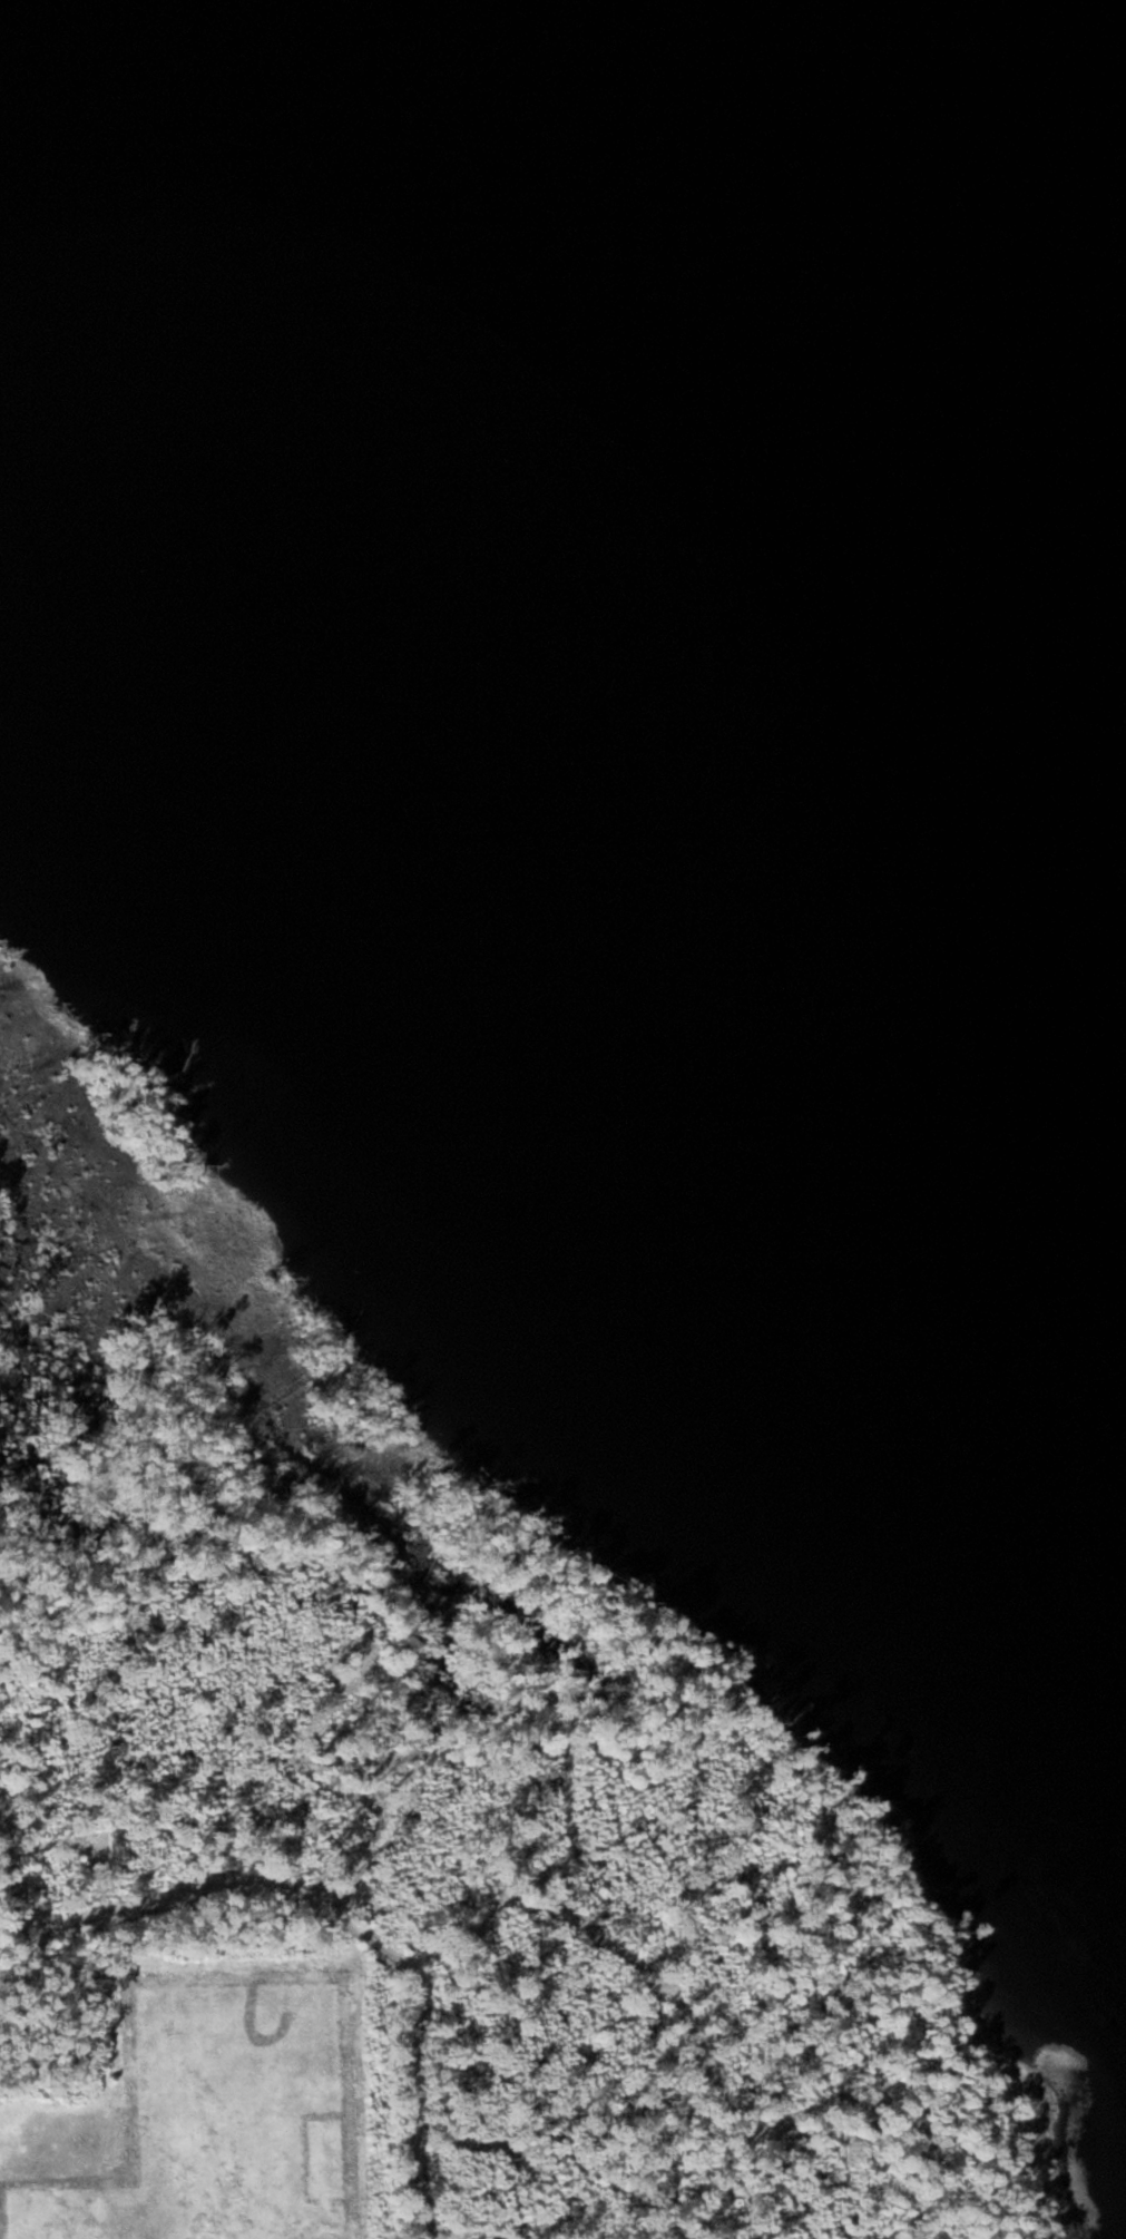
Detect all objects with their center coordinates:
road: (368, 2055)
road: (762, 2062)
road: (404, 2162)

